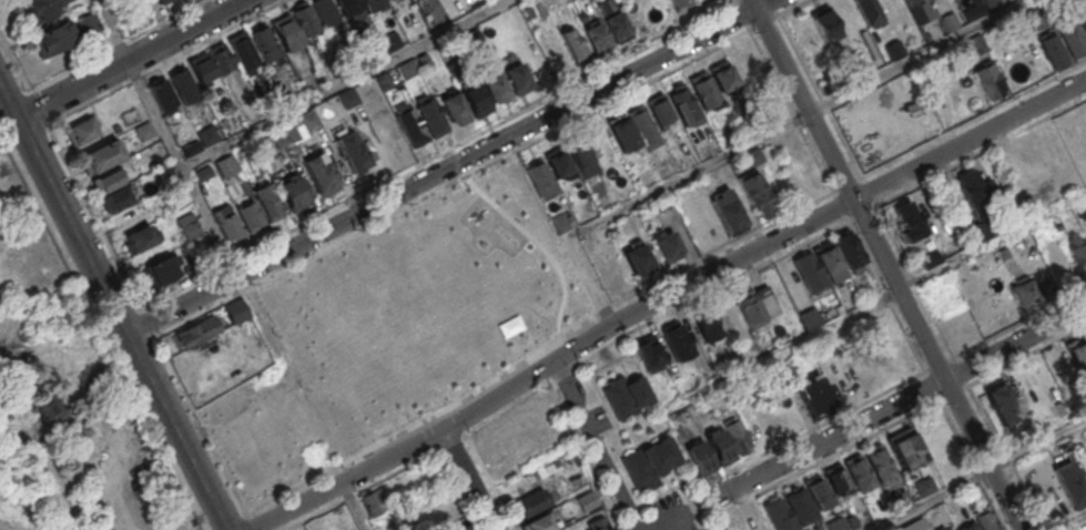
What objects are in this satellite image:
building: (160, 1)
building: (906, 1)
building: (676, 2)
building: (373, 3)
building: (348, 6)
building: (606, 6)
building: (45, 8)
building: (1060, 9)
building: (325, 11)
building: (869, 11)
building: (1038, 18)
building: (304, 21)
building: (951, 21)
building: (1084, 21)
building: (85, 22)
building: (825, 23)
building: (618, 27)
building: (286, 33)
building: (597, 37)
building: (52, 38)
building: (1073, 39)
building: (471, 40)
building: (390, 41)
building: (264, 42)
building: (574, 44)
building: (971, 47)
building: (893, 49)
building: (1053, 50)
building: (243, 51)
building: (222, 57)
road: (917, 57)
road: (132, 59)
building: (424, 60)
building: (202, 67)
building: (407, 68)
building: (722, 75)
building: (518, 78)
building: (989, 79)
building: (383, 80)
road: (343, 83)
building: (183, 84)
building: (495, 88)
building: (703, 90)
building: (164, 96)
building: (348, 98)
building: (475, 98)
road: (9, 101)
building: (682, 104)
building: (374, 105)
building: (453, 106)
building: (659, 109)
building: (432, 116)
building: (311, 120)
building: (641, 123)
building: (410, 125)
building: (145, 130)
building: (81, 131)
building: (621, 131)
building: (207, 135)
building: (278, 136)
road: (968, 140)
building: (192, 147)
building: (353, 151)
building: (101, 156)
building: (581, 156)
building: (753, 156)
building: (1033, 160)
building: (557, 162)
building: (227, 165)
road: (449, 166)
building: (204, 173)
building: (322, 173)
building: (541, 179)
building: (105, 181)
building: (970, 187)
building: (293, 193)
building: (755, 195)
road: (641, 197)
building: (115, 198)
building: (267, 202)
building: (727, 212)
building: (250, 215)
building: (131, 216)
building: (905, 220)
building: (559, 221)
building: (226, 222)
building: (481, 226)
building: (191, 228)
building: (140, 238)
building: (668, 245)
road: (223, 248)
building: (848, 251)
building: (1002, 252)
building: (637, 257)
building: (927, 257)
building: (1079, 257)
building: (830, 262)
road: (885, 264)
road: (941, 267)
building: (160, 271)
building: (605, 271)
building: (809, 272)
building: (1023, 289)
park: (422, 306)
road: (870, 306)
building: (750, 307)
building: (725, 312)
building: (809, 317)
road: (122, 324)
building: (706, 324)
building: (390, 327)
building: (196, 330)
building: (293, 338)
building: (677, 340)
building: (649, 353)
building: (1078, 353)
road: (549, 364)
road: (80, 374)
building: (862, 376)
building: (841, 386)
park: (71, 391)
building: (814, 395)
building: (626, 396)
road: (897, 402)
building: (1002, 404)
building: (48, 410)
road: (67, 427)
building: (738, 436)
road: (599, 445)
road: (1037, 445)
building: (720, 446)
building: (907, 450)
building: (699, 456)
building: (649, 460)
building: (880, 463)
building: (860, 473)
road: (469, 480)
building: (838, 480)
road: (114, 485)
building: (924, 486)
building: (1073, 489)
building: (819, 492)
building: (902, 496)
building: (587, 500)
road: (932, 500)
building: (373, 502)
building: (531, 502)
road: (355, 506)
building: (802, 506)
road: (68, 510)
building: (779, 514)
building: (986, 518)
building: (757, 520)
building: (852, 520)
road: (114, 521)
road: (197, 522)
building: (538, 523)
building: (838, 523)
building: (970, 527)
building: (464, 528)
building: (943, 528)
building: (460, 529)

